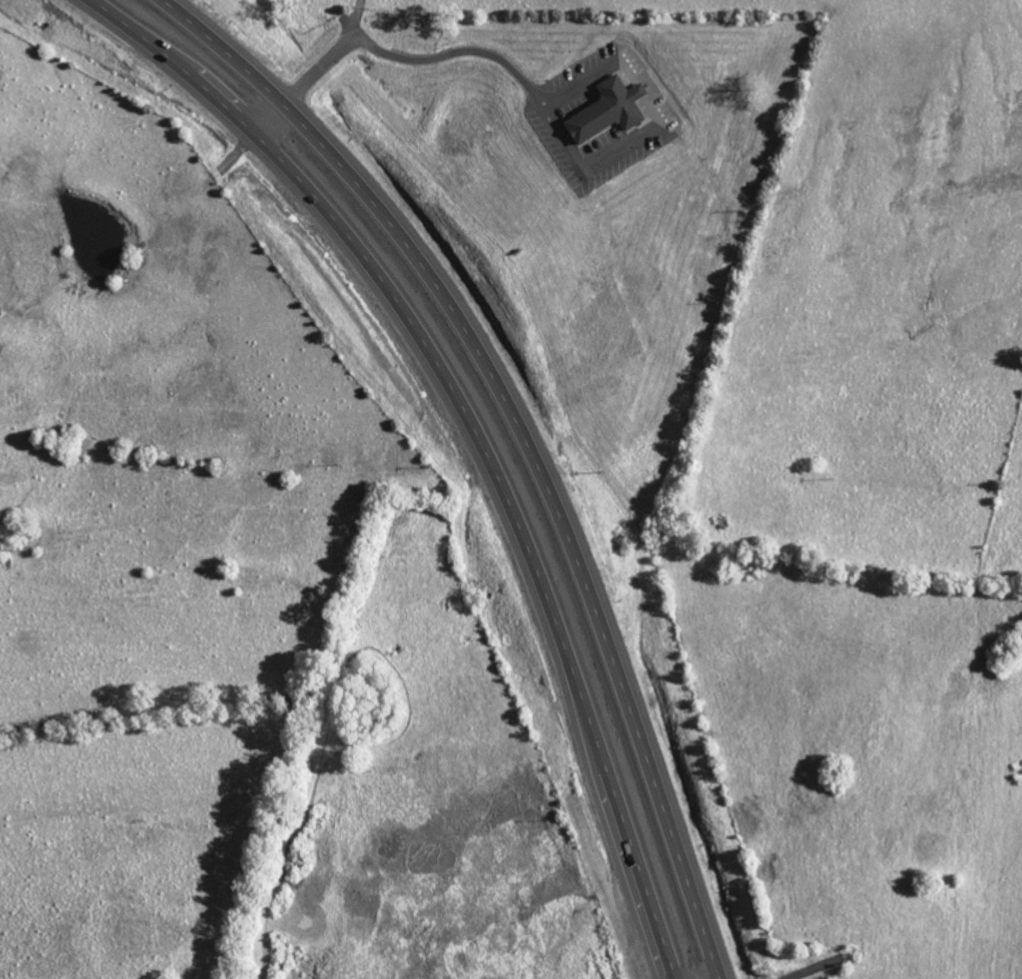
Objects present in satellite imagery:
road: (357, 33)
road: (287, 99)
building: (605, 109)
road: (478, 433)
road: (528, 440)

